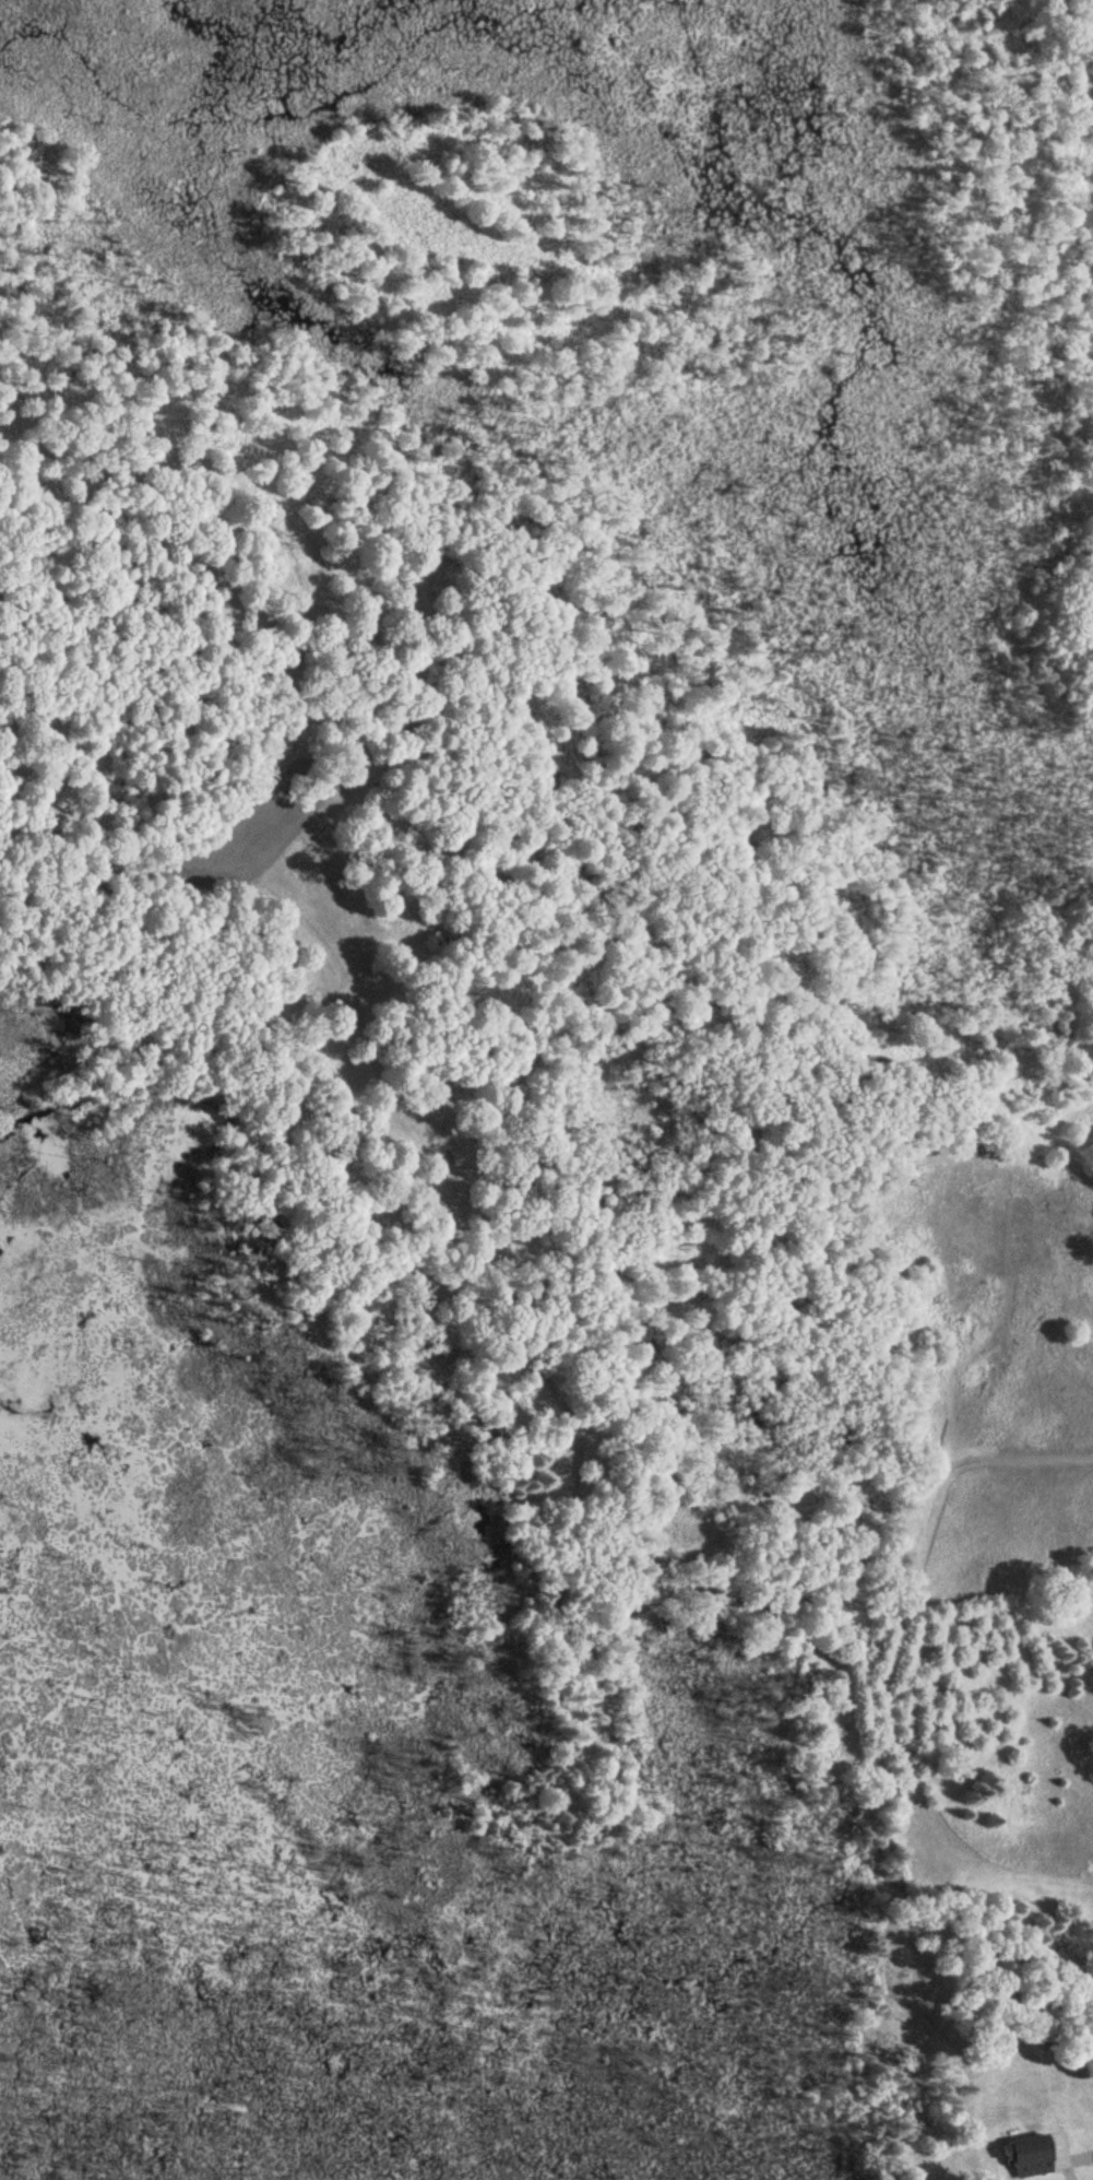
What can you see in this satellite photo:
building: (1031, 2156)

